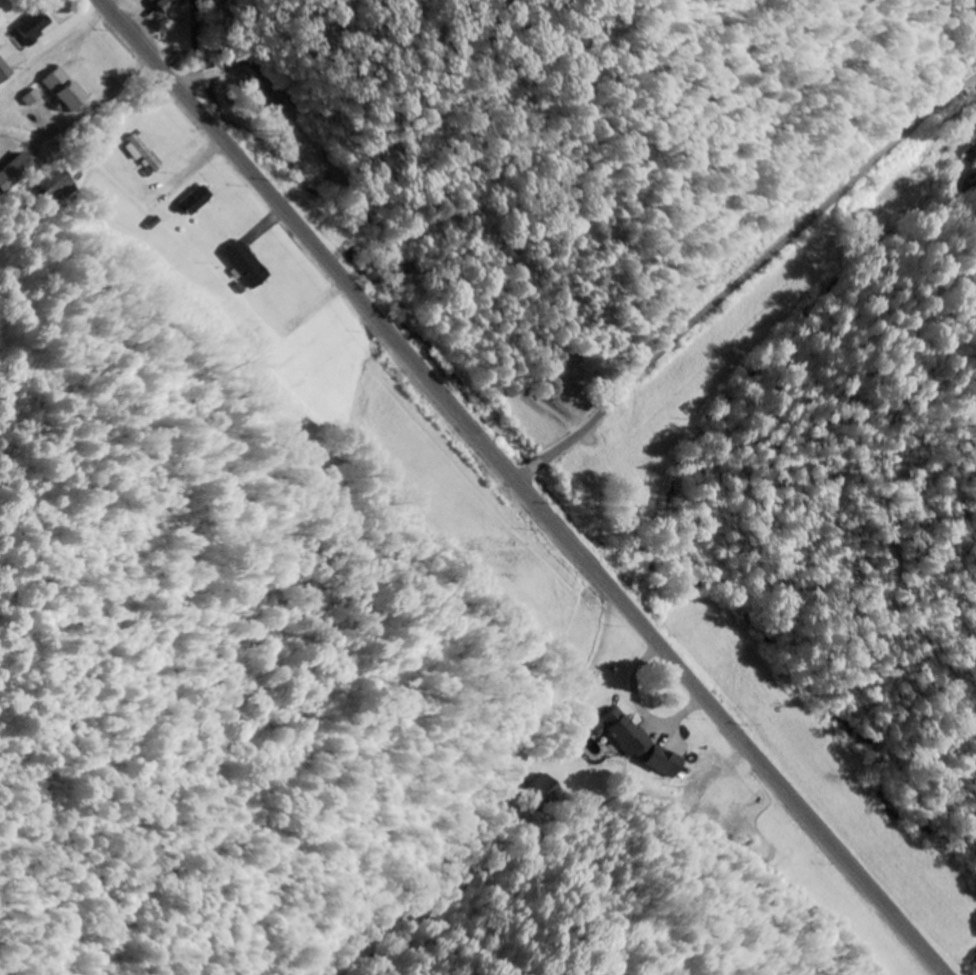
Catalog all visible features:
building: (163, 4)
building: (34, 28)
building: (5, 72)
building: (66, 91)
building: (33, 98)
building: (273, 106)
building: (144, 152)
building: (15, 173)
building: (58, 186)
building: (196, 202)
building: (247, 264)
road: (744, 277)
park: (571, 371)
road: (522, 488)
building: (641, 743)

